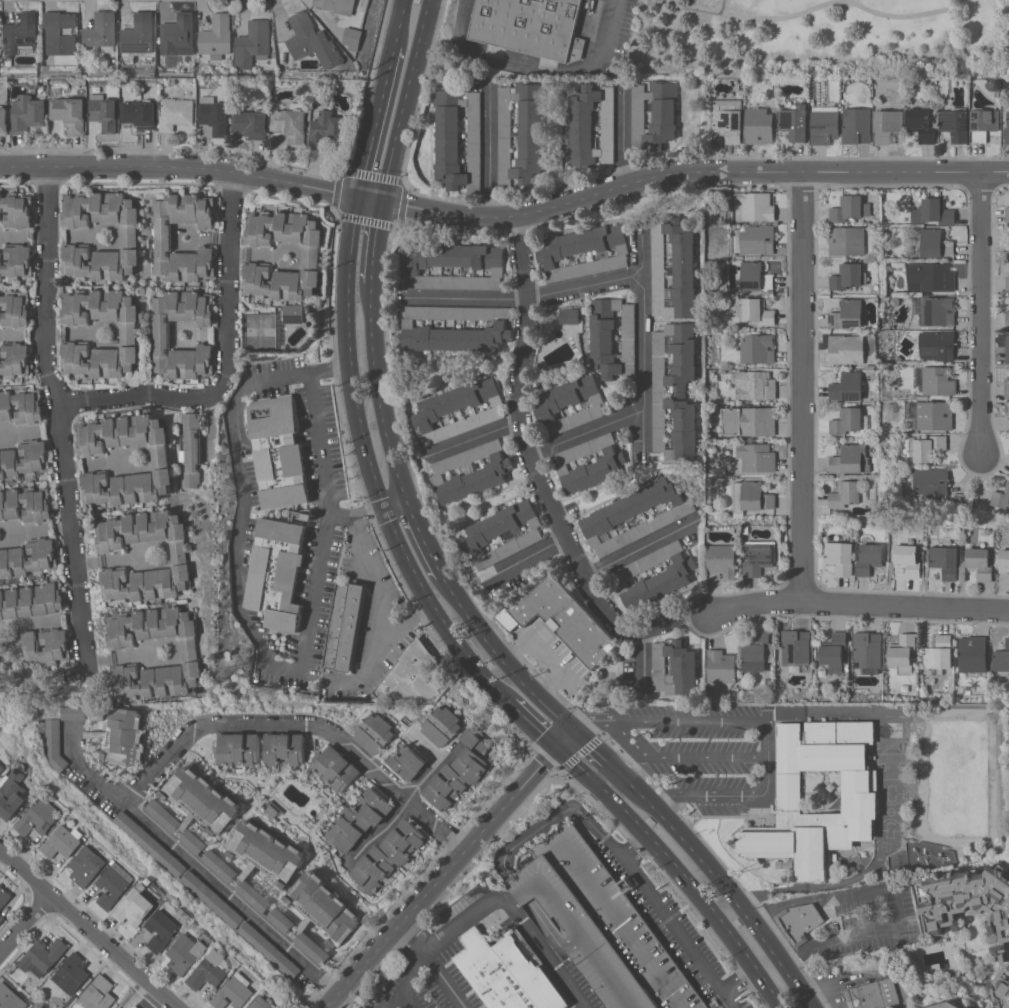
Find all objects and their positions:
building: (337, 6)
road: (892, 15)
road: (398, 19)
road: (768, 20)
building: (530, 27)
building: (102, 31)
building: (60, 32)
building: (21, 34)
building: (139, 34)
building: (179, 35)
building: (217, 36)
building: (353, 39)
park: (815, 40)
building: (313, 41)
building: (253, 43)
road: (541, 68)
road: (405, 102)
building: (68, 111)
building: (103, 112)
building: (140, 113)
building: (176, 113)
building: (27, 114)
building: (654, 114)
building: (214, 115)
road: (375, 119)
building: (728, 120)
building: (4, 121)
building: (794, 121)
building: (252, 122)
building: (984, 122)
building: (825, 123)
building: (922, 123)
building: (955, 123)
building: (291, 124)
building: (856, 125)
building: (887, 125)
building: (591, 126)
building: (758, 126)
building: (327, 130)
building: (520, 134)
building: (1007, 135)
building: (457, 139)
road: (622, 140)
road: (490, 151)
road: (179, 170)
road: (691, 172)
traffic signals: (356, 199)
road: (368, 201)
traffic signals: (381, 204)
building: (755, 206)
building: (850, 208)
building: (16, 211)
building: (933, 212)
building: (1007, 214)
building: (130, 236)
building: (162, 238)
building: (757, 239)
building: (847, 241)
building: (934, 243)
road: (375, 244)
building: (1007, 250)
building: (558, 253)
building: (312, 255)
building: (16, 260)
building: (685, 265)
building: (488, 267)
building: (754, 276)
building: (848, 276)
building: (930, 277)
building: (1007, 283)
road: (531, 295)
building: (14, 310)
building: (756, 311)
building: (937, 311)
building: (294, 313)
building: (848, 314)
road: (981, 314)
building: (570, 316)
building: (1007, 319)
building: (416, 328)
building: (129, 334)
building: (161, 335)
building: (612, 337)
road: (642, 344)
building: (936, 345)
building: (758, 348)
building: (847, 349)
building: (1007, 350)
road: (348, 354)
building: (13, 359)
road: (228, 363)
road: (279, 373)
building: (938, 381)
road: (801, 384)
building: (755, 385)
building: (847, 387)
building: (1007, 388)
building: (675, 391)
road: (378, 393)
building: (551, 405)
building: (32, 408)
building: (438, 410)
road: (65, 412)
building: (934, 415)
building: (847, 420)
building: (748, 421)
road: (34, 431)
road: (587, 432)
road: (479, 436)
road: (528, 440)
building: (928, 448)
building: (192, 451)
building: (279, 452)
building: (756, 457)
building: (25, 460)
building: (851, 460)
road: (106, 462)
building: (162, 463)
building: (605, 464)
building: (470, 472)
building: (930, 482)
building: (846, 494)
building: (750, 497)
building: (1001, 497)
road: (394, 502)
building: (26, 505)
road: (357, 515)
building: (636, 515)
road: (4, 526)
road: (42, 528)
building: (484, 534)
road: (425, 539)
road: (6, 540)
road: (640, 549)
road: (529, 556)
building: (759, 557)
building: (840, 557)
building: (28, 558)
building: (182, 558)
building: (870, 558)
building: (908, 559)
building: (1004, 560)
road: (117, 561)
building: (945, 561)
building: (721, 562)
building: (980, 563)
building: (277, 573)
building: (668, 575)
road: (377, 591)
road: (848, 599)
building: (31, 600)
road: (433, 607)
road: (682, 616)
road: (65, 619)
building: (562, 620)
building: (344, 626)
road: (652, 626)
building: (795, 647)
building: (45, 649)
building: (834, 649)
building: (867, 651)
building: (758, 652)
building: (902, 653)
building: (939, 653)
building: (972, 654)
building: (192, 655)
road: (117, 656)
road: (642, 658)
building: (1001, 658)
road: (505, 662)
road: (303, 663)
building: (720, 666)
road: (367, 668)
building: (674, 668)
building: (413, 677)
building: (74, 712)
road: (591, 717)
road: (531, 724)
building: (441, 726)
road: (303, 727)
building: (374, 733)
traffic signals: (577, 733)
building: (122, 736)
road: (766, 741)
building: (54, 744)
building: (238, 749)
building: (284, 749)
parking lot: (703, 750)
traffic signals: (560, 751)
road: (680, 757)
building: (407, 764)
road: (610, 765)
building: (2, 767)
building: (334, 768)
road: (430, 770)
building: (460, 771)
building: (860, 791)
building: (12, 794)
building: (202, 799)
road: (560, 813)
building: (163, 815)
building: (39, 817)
building: (357, 821)
road: (382, 828)
building: (193, 841)
building: (63, 842)
building: (149, 843)
building: (266, 851)
building: (386, 856)
building: (219, 865)
building: (87, 866)
road: (195, 868)
road: (453, 870)
road: (677, 872)
building: (115, 884)
building: (253, 895)
building: (4, 896)
road: (732, 897)
building: (212, 899)
road: (777, 904)
road: (510, 905)
building: (136, 906)
building: (323, 908)
building: (1, 918)
road: (669, 919)
building: (281, 920)
building: (799, 921)
road: (25, 923)
building: (600, 925)
road: (899, 927)
road: (88, 929)
parking lot: (675, 929)
building: (163, 930)
building: (1002, 935)
building: (312, 948)
building: (269, 950)
building: (187, 953)
parking lot: (443, 955)
building: (42, 956)
building: (211, 971)
building: (71, 974)
building: (507, 974)
road: (407, 976)
road: (442, 980)
parking lot: (574, 985)
building: (235, 992)
building: (99, 993)
building: (875, 994)
building: (10, 997)
road: (407, 998)
building: (263, 1003)
building: (946, 1005)
building: (135, 1006)
building: (117, 1007)
building: (118, 1007)

